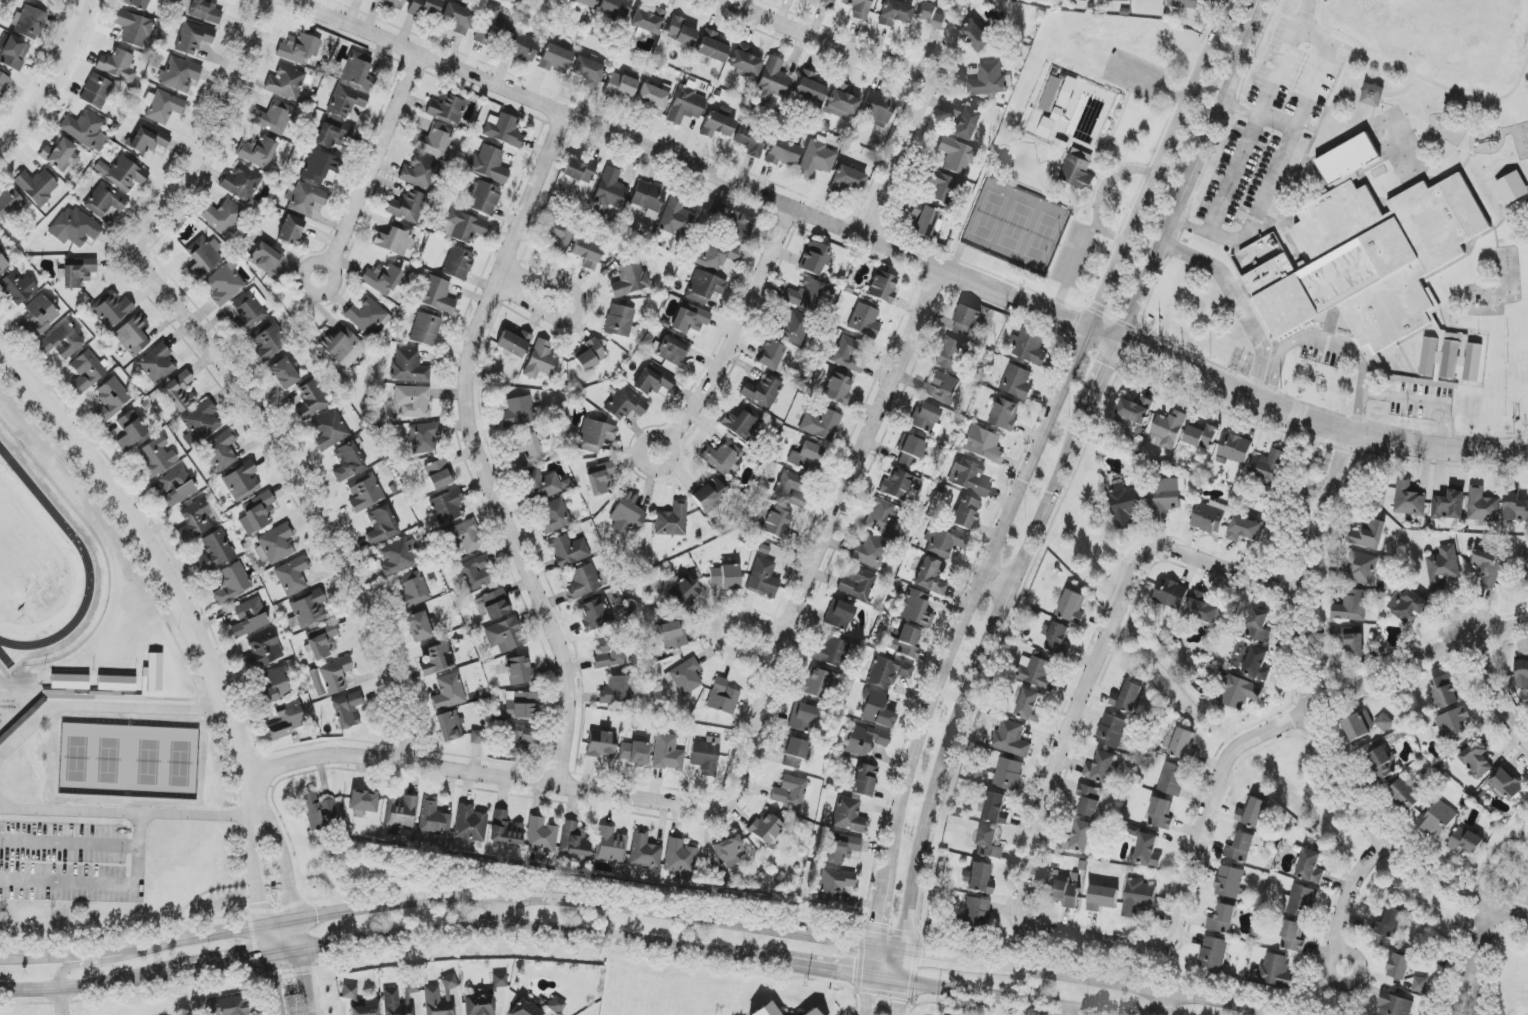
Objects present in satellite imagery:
building: (40, 0)
building: (1083, 0)
building: (1117, 0)
building: (585, 2)
building: (136, 3)
building: (393, 3)
building: (826, 3)
building: (1184, 4)
building: (616, 7)
building: (426, 8)
building: (859, 8)
building: (205, 11)
building: (895, 13)
building: (930, 15)
road: (1263, 15)
building: (458, 18)
building: (647, 20)
building: (28, 23)
building: (491, 27)
building: (133, 28)
building: (681, 32)
building: (974, 37)
building: (193, 38)
park: (1439, 42)
building: (522, 47)
building: (712, 47)
building: (299, 49)
building: (13, 52)
building: (555, 58)
building: (745, 60)
road: (1322, 60)
road: (908, 63)
building: (117, 66)
building: (357, 70)
building: (588, 72)
building: (179, 74)
road: (49, 75)
building: (988, 80)
building: (772, 81)
building: (3, 83)
building: (285, 83)
building: (620, 87)
building: (810, 87)
building: (96, 91)
building: (1051, 94)
building: (1373, 95)
building: (653, 98)
building: (346, 100)
building: (842, 102)
building: (686, 105)
building: (164, 107)
building: (447, 108)
building: (877, 109)
building: (272, 117)
building: (963, 122)
building: (717, 125)
building: (85, 130)
building: (503, 130)
building: (333, 133)
building: (148, 139)
building: (435, 141)
building: (750, 141)
park: (1072, 148)
building: (256, 151)
building: (782, 153)
building: (60, 155)
building: (956, 156)
road: (376, 158)
building: (816, 159)
building: (490, 164)
building: (319, 166)
building: (1078, 169)
building: (580, 170)
building: (420, 172)
building: (122, 173)
building: (848, 179)
building: (241, 182)
road: (1268, 185)
building: (37, 186)
road: (1190, 187)
building: (1512, 188)
building: (943, 189)
building: (611, 190)
road: (1101, 192)
building: (648, 196)
building: (482, 197)
building: (306, 199)
building: (105, 200)
building: (9, 203)
building: (408, 206)
building: (716, 209)
building: (675, 216)
building: (224, 218)
building: (924, 220)
building: (464, 226)
building: (74, 227)
building: (291, 230)
building: (560, 234)
building: (395, 239)
building: (725, 244)
road: (901, 251)
building: (587, 253)
building: (1367, 253)
building: (815, 258)
building: (266, 260)
road: (317, 260)
building: (3, 263)
building: (457, 263)
road: (1072, 267)
building: (78, 272)
building: (382, 279)
building: (629, 279)
building: (225, 284)
building: (704, 287)
building: (882, 287)
building: (17, 288)
building: (437, 295)
building: (805, 295)
road: (1237, 303)
road: (578, 308)
building: (111, 309)
building: (250, 309)
building: (41, 313)
building: (366, 315)
building: (690, 318)
building: (619, 321)
building: (864, 321)
building: (966, 321)
building: (795, 327)
road: (740, 328)
building: (425, 329)
building: (133, 335)
building: (61, 341)
building: (270, 342)
building: (514, 343)
building: (341, 346)
building: (1029, 348)
road: (1333, 349)
building: (673, 351)
building: (590, 354)
building: (850, 354)
building: (771, 355)
building: (954, 356)
building: (1440, 358)
building: (540, 360)
building: (157, 364)
road: (239, 364)
building: (409, 367)
building: (86, 372)
building: (284, 373)
road: (1275, 375)
road: (1107, 377)
building: (652, 381)
building: (1017, 382)
building: (837, 388)
building: (942, 389)
building: (179, 391)
building: (762, 392)
building: (111, 398)
building: (311, 400)
road: (1422, 400)
building: (412, 401)
building: (624, 404)
building: (1135, 410)
road: (1355, 410)
building: (517, 412)
building: (1005, 414)
building: (926, 418)
building: (200, 422)
building: (741, 423)
building: (820, 424)
building: (1169, 429)
building: (130, 430)
building: (329, 430)
road: (1046, 430)
building: (595, 435)
building: (423, 437)
road: (657, 437)
building: (1201, 437)
road: (481, 442)
building: (984, 445)
building: (529, 447)
building: (1235, 448)
building: (221, 451)
building: (910, 451)
building: (156, 457)
building: (806, 457)
building: (723, 458)
building: (522, 460)
building: (348, 461)
building: (1268, 467)
building: (439, 474)
building: (600, 477)
building: (969, 477)
building: (241, 481)
building: (900, 484)
building: (544, 485)
road: (1303, 485)
building: (176, 488)
building: (790, 489)
road: (1329, 490)
building: (365, 493)
building: (709, 495)
building: (1165, 497)
building: (1408, 500)
building: (1125, 504)
building: (447, 506)
building: (1449, 506)
building: (1482, 506)
building: (1515, 508)
building: (257, 513)
building: (966, 513)
building: (554, 515)
building: (627, 515)
building: (1209, 517)
building: (883, 518)
building: (194, 520)
building: (672, 521)
building: (774, 522)
building: (381, 526)
building: (1243, 529)
building: (1368, 535)
building: (465, 536)
building: (943, 540)
building: (275, 545)
track: (87, 547)
building: (568, 550)
building: (214, 551)
building: (869, 552)
road: (156, 555)
building: (396, 558)
stadium: (44, 565)
park: (38, 567)
building: (1359, 567)
building: (1443, 567)
building: (1487, 568)
building: (1526, 568)
building: (477, 572)
building: (292, 576)
building: (725, 577)
building: (931, 577)
building: (763, 578)
building: (583, 581)
building: (231, 583)
building: (857, 584)
building: (412, 591)
building: (684, 592)
building: (1171, 594)
building: (491, 605)
building: (1410, 605)
building: (1352, 606)
building: (1072, 607)
building: (1203, 608)
building: (308, 609)
building: (916, 609)
building: (594, 614)
building: (839, 615)
building: (249, 618)
building: (1258, 625)
building: (420, 627)
road: (716, 627)
building: (504, 635)
building: (670, 636)
building: (1057, 639)
building: (321, 640)
building: (1348, 640)
building: (905, 643)
building: (262, 650)
building: (610, 652)
building: (830, 652)
building: (437, 659)
building: (1257, 664)
building: (519, 671)
building: (888, 672)
building: (1037, 673)
building: (1522, 673)
road: (978, 674)
building: (330, 677)
building: (686, 677)
building: (19, 680)
building: (70, 682)
building: (117, 683)
building: (816, 683)
building: (275, 686)
building: (616, 690)
building: (448, 692)
building: (1445, 692)
building: (1240, 693)
building: (67, 694)
road: (1499, 694)
building: (722, 697)
building: (1127, 697)
building: (521, 706)
building: (1029, 706)
road: (105, 707)
building: (876, 709)
building: (346, 710)
building: (802, 718)
road: (1302, 719)
building: (286, 720)
building: (1384, 722)
building: (1359, 725)
building: (1453, 725)
building: (449, 726)
building: (1112, 731)
building: (477, 737)
building: (1011, 739)
building: (519, 741)
building: (866, 741)
road: (1071, 742)
building: (1180, 743)
building: (600, 744)
building: (794, 752)
building: (634, 753)
building: (667, 753)
building: (706, 755)
road: (747, 755)
park: (70, 758)
park: (100, 758)
building: (1476, 759)
park: (143, 761)
park: (173, 761)
building: (1382, 763)
road: (1335, 764)
building: (1100, 768)
building: (1009, 774)
building: (1173, 780)
building: (865, 781)
building: (1507, 784)
building: (790, 791)
building: (1406, 794)
building: (363, 801)
building: (1090, 801)
building: (996, 809)
building: (319, 811)
road: (134, 812)
building: (1252, 812)
building: (401, 814)
building: (1161, 814)
building: (849, 815)
building: (433, 818)
building: (1438, 819)
building: (470, 824)
road: (140, 828)
building: (766, 828)
building: (505, 829)
building: (540, 835)
building: (1079, 837)
building: (574, 840)
building: (1466, 841)
road: (69, 842)
building: (988, 843)
building: (611, 846)
building: (1241, 848)
building: (838, 849)
building: (644, 851)
building: (1148, 851)
building: (729, 852)
building: (680, 857)
building: (1310, 867)
building: (980, 879)
building: (1229, 882)
building: (835, 884)
road: (90, 886)
road: (500, 896)
building: (1138, 897)
building: (1103, 898)
road: (288, 899)
road: (1348, 899)
road: (261, 900)
building: (1300, 902)
road: (878, 908)
road: (1511, 908)
building: (976, 912)
building: (1222, 919)
building: (1389, 923)
road: (1487, 930)
road: (412, 936)
building: (1292, 937)
road: (63, 953)
road: (921, 953)
building: (1214, 953)
road: (84, 960)
road: (872, 963)
building: (1399, 967)
road: (905, 968)
road: (818, 970)
building: (1277, 971)
road: (260, 974)
building: (449, 982)
road: (886, 982)
road: (1127, 984)
road: (1462, 984)
building: (1420, 985)
building: (411, 986)
road: (1479, 986)
road: (30, 992)
building: (349, 992)
road: (868, 997)
road: (900, 999)
road: (1005, 999)
building: (437, 1001)
road: (62, 1002)
road: (1164, 1003)
building: (395, 1004)
building: (556, 1005)
building: (1394, 1005)
building: (228, 1006)
building: (366, 1008)
building: (525, 1009)
building: (765, 1010)
road: (1061, 1011)
building: (811, 1013)

